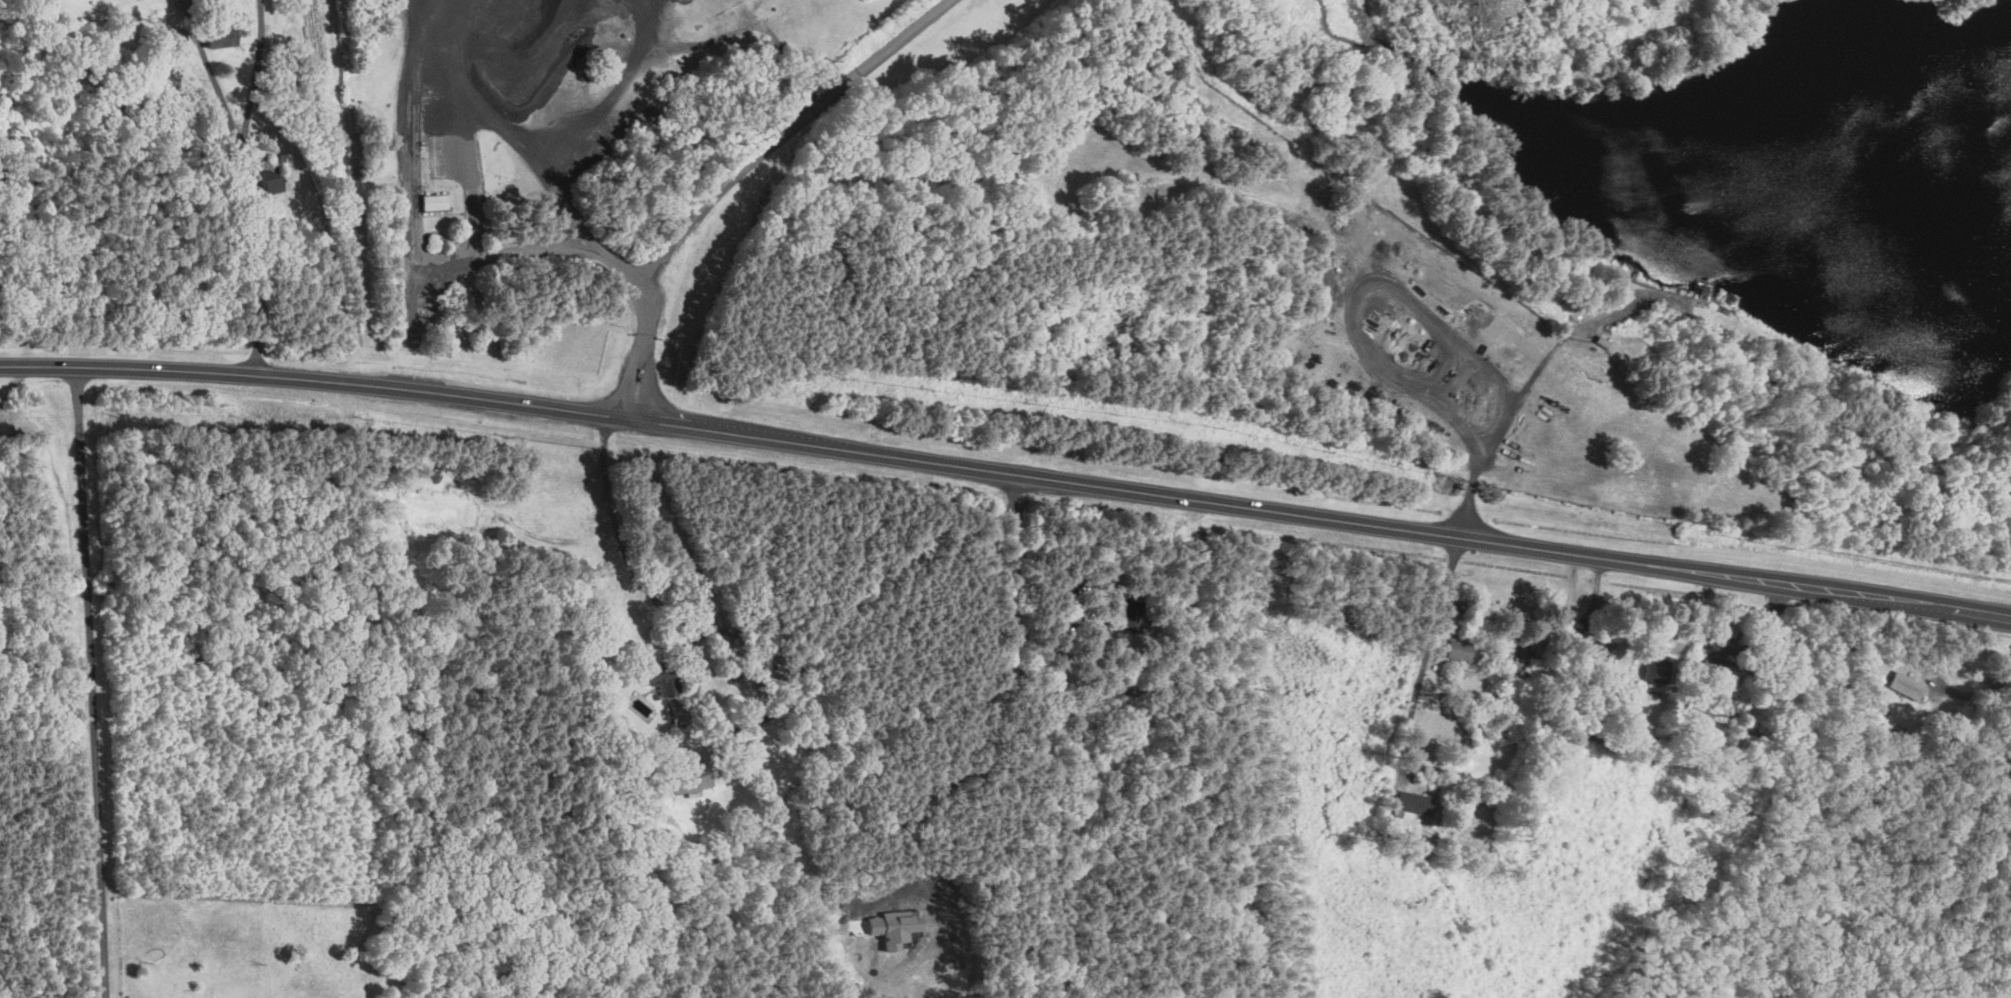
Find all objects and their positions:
building: (215, 36)
road: (212, 76)
road: (605, 99)
road: (782, 129)
road: (505, 131)
building: (267, 181)
road: (245, 187)
building: (431, 202)
road: (411, 217)
quarry: (1250, 233)
road: (638, 284)
road: (632, 379)
road: (648, 381)
road: (14, 384)
road: (1507, 418)
road: (80, 468)
road: (975, 468)
road: (628, 563)
road: (1979, 612)
building: (1455, 649)
road: (1427, 654)
building: (1589, 654)
building: (662, 680)
building: (1908, 685)
road: (1975, 694)
road: (1040, 737)
building: (687, 780)
road: (96, 783)
road: (916, 788)
building: (1409, 803)
building: (892, 925)

